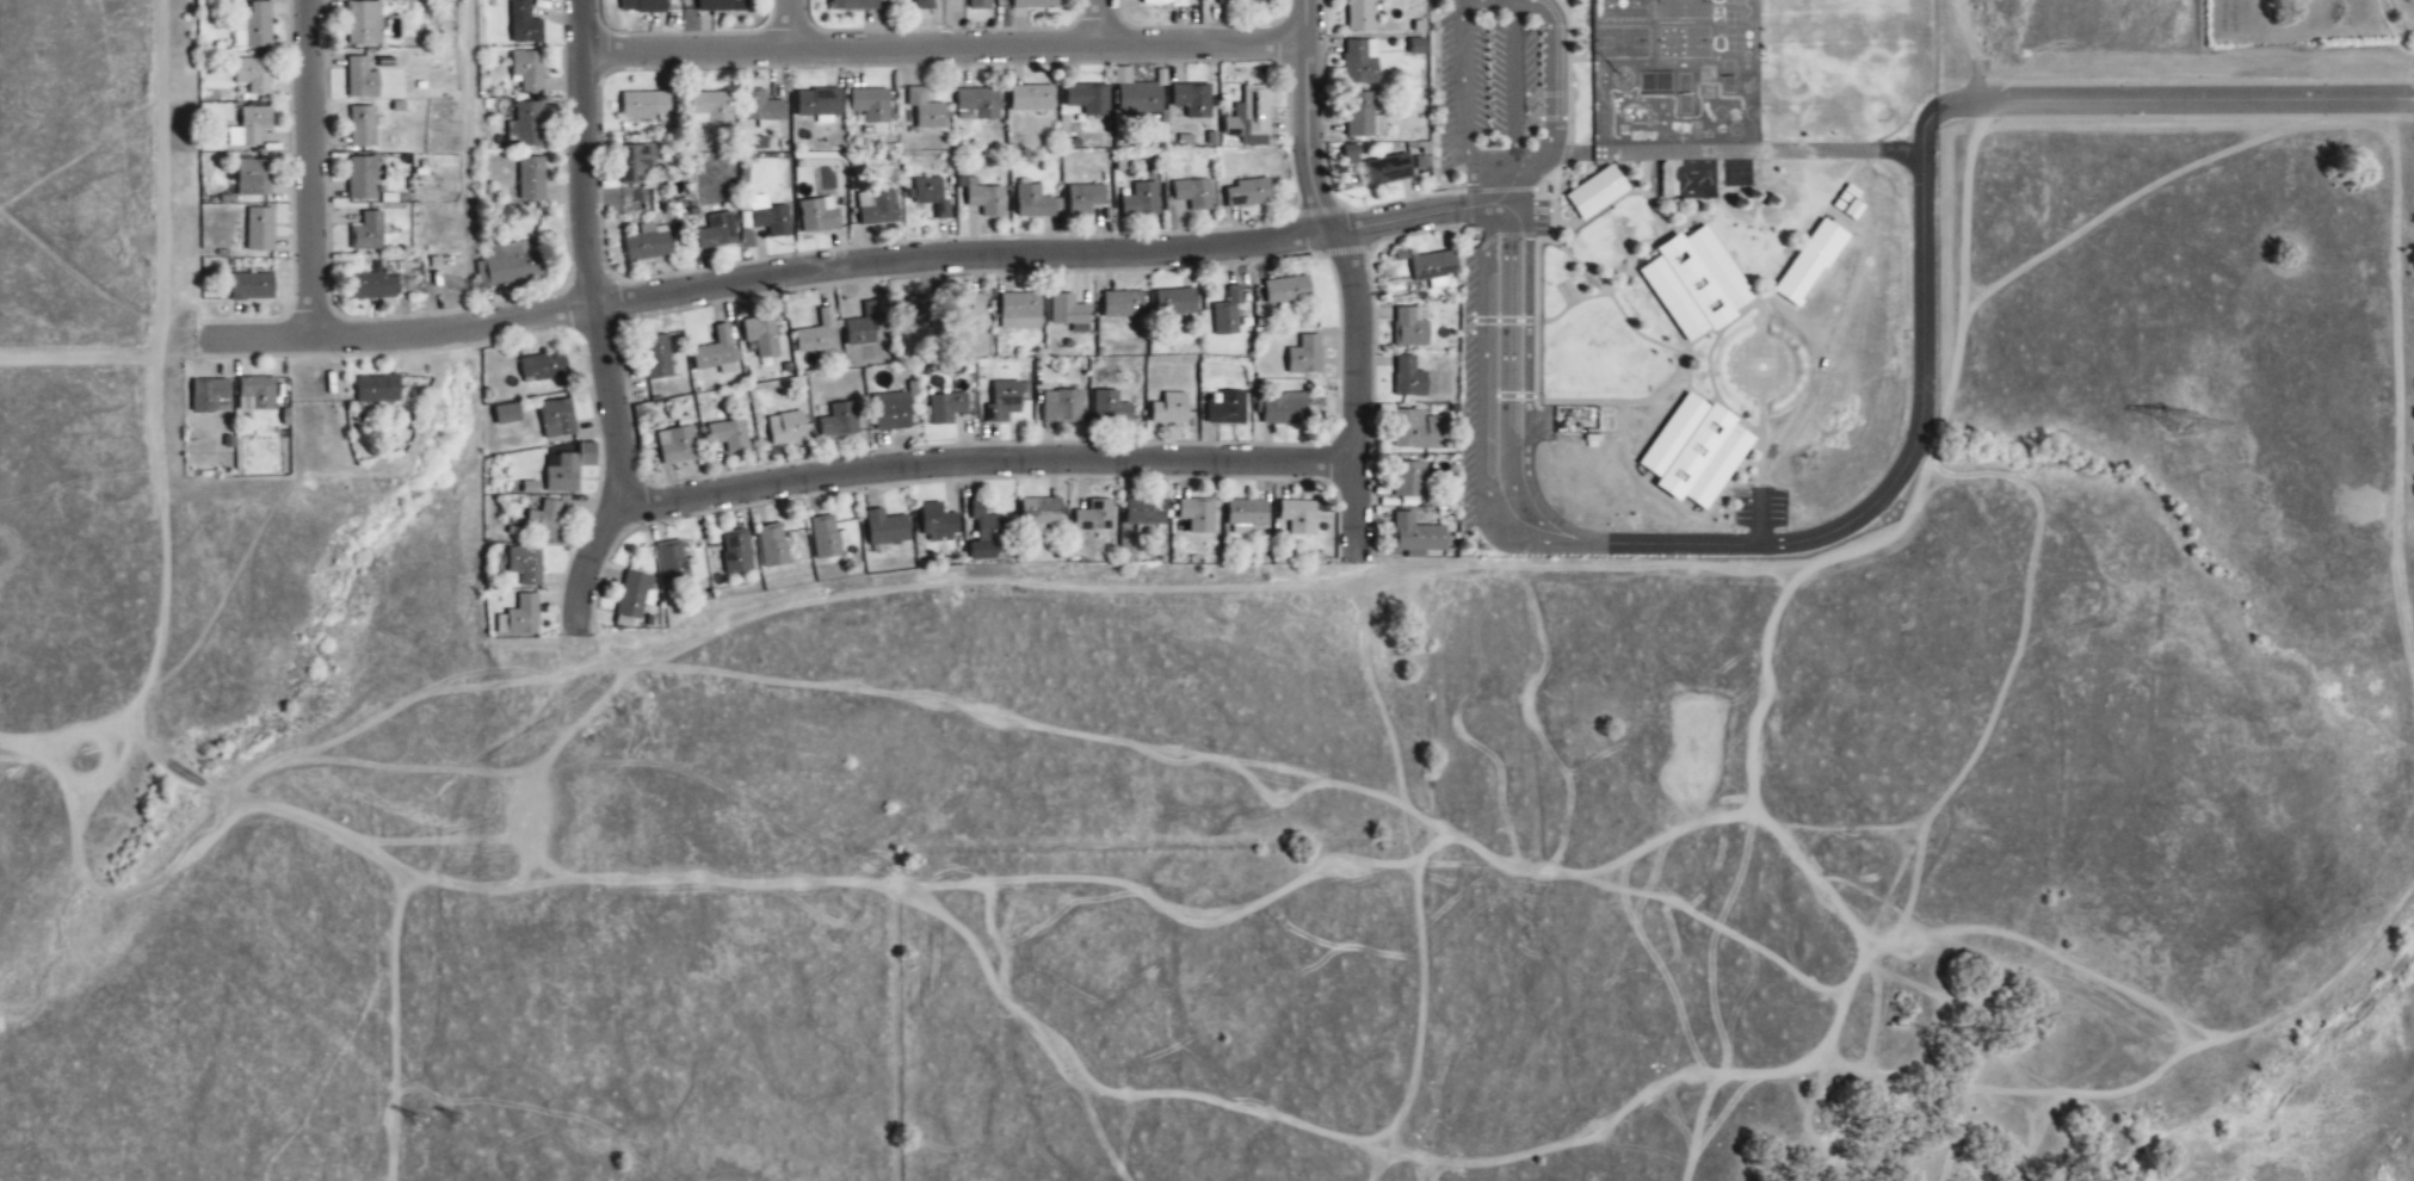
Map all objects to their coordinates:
building: (1242, 1)
building: (854, 4)
building: (978, 4)
building: (1032, 4)
building: (1163, 4)
building: (722, 5)
building: (924, 5)
building: (643, 6)
building: (1360, 16)
building: (364, 24)
building: (524, 24)
road: (1099, 24)
road: (788, 25)
building: (254, 26)
road: (944, 49)
building: (1362, 61)
road: (1551, 66)
building: (527, 70)
building: (253, 74)
building: (362, 79)
road: (1514, 97)
building: (1033, 99)
building: (1087, 99)
road: (2151, 99)
building: (1192, 100)
building: (1142, 101)
building: (980, 103)
building: (819, 104)
building: (646, 105)
building: (870, 105)
road: (1462, 106)
building: (710, 107)
building: (764, 107)
building: (925, 110)
building: (1249, 116)
building: (1363, 116)
building: (527, 124)
building: (251, 126)
building: (364, 126)
building: (1350, 154)
building: (636, 162)
road: (310, 169)
building: (1388, 169)
building: (254, 175)
building: (362, 178)
building: (531, 179)
building: (1663, 181)
building: (1597, 192)
building: (1249, 193)
building: (1193, 194)
building: (928, 196)
building: (1085, 196)
building: (984, 198)
building: (1141, 200)
building: (1035, 203)
building: (877, 208)
building: (817, 215)
building: (771, 219)
road: (1394, 222)
building: (260, 229)
building: (717, 231)
building: (368, 233)
building: (648, 242)
building: (1811, 262)
building: (510, 265)
road: (1352, 276)
road: (768, 277)
building: (1697, 284)
power tower: (419, 285)
power tower: (462, 285)
building: (252, 286)
building: (372, 286)
building: (1288, 291)
building: (1175, 302)
building: (977, 304)
building: (1123, 304)
building: (918, 310)
building: (1020, 311)
building: (1069, 313)
building: (1228, 313)
road: (599, 316)
building: (864, 324)
building: (1409, 328)
building: (817, 335)
building: (761, 336)
building: (717, 353)
building: (1305, 355)
building: (659, 357)
building: (544, 366)
building: (1409, 377)
building: (377, 390)
building: (208, 394)
building: (257, 394)
building: (1006, 400)
building: (1062, 407)
building: (946, 408)
building: (1111, 408)
building: (1282, 408)
building: (1171, 409)
building: (1227, 409)
building: (891, 412)
building: (507, 414)
building: (556, 418)
building: (841, 420)
building: (786, 428)
power tower: (2192, 428)
building: (1419, 431)
road: (1918, 431)
building: (729, 435)
building: (677, 443)
building: (1697, 452)
road: (984, 460)
building: (562, 474)
building: (1409, 480)
building: (1146, 513)
building: (1038, 514)
building: (1246, 515)
building: (1094, 517)
building: (1198, 517)
building: (1298, 517)
building: (544, 520)
building: (938, 523)
building: (885, 527)
building: (986, 533)
building: (1416, 534)
building: (827, 538)
building: (773, 546)
building: (736, 552)
building: (669, 557)
building: (526, 564)
building: (632, 595)
building: (520, 618)
power tower: (421, 1123)
power tower: (462, 1123)

